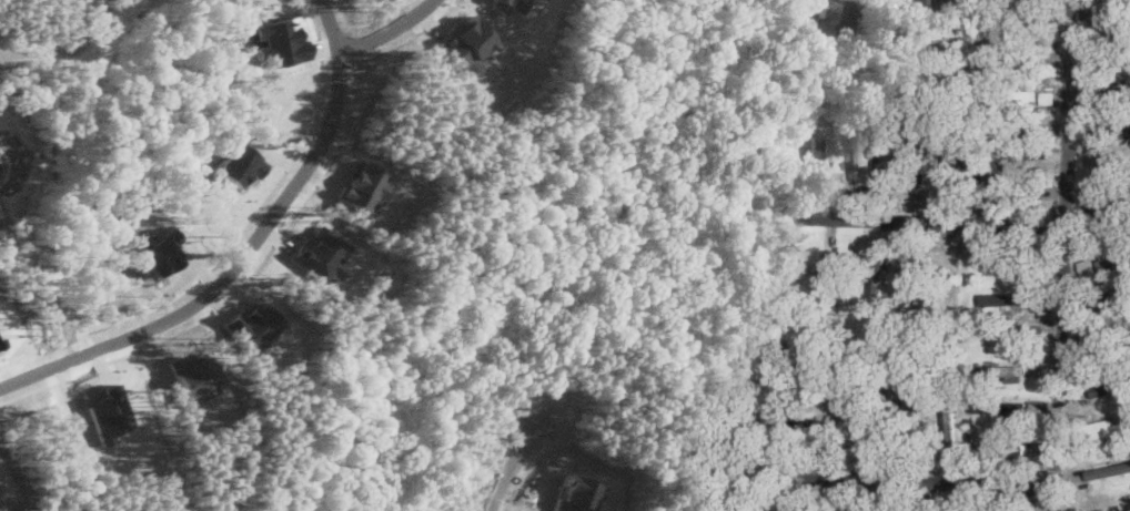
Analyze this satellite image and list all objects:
building: (507, 4)
building: (886, 9)
road: (387, 31)
building: (279, 39)
building: (465, 42)
building: (815, 146)
building: (917, 154)
building: (238, 163)
building: (951, 171)
road: (922, 224)
road: (243, 252)
building: (320, 252)
building: (160, 254)
road: (1070, 255)
building: (1114, 260)
building: (833, 273)
building: (252, 324)
building: (999, 371)
building: (193, 374)
building: (1110, 386)
building: (108, 411)
building: (990, 411)
building: (1110, 426)
road: (513, 469)
road: (937, 478)

